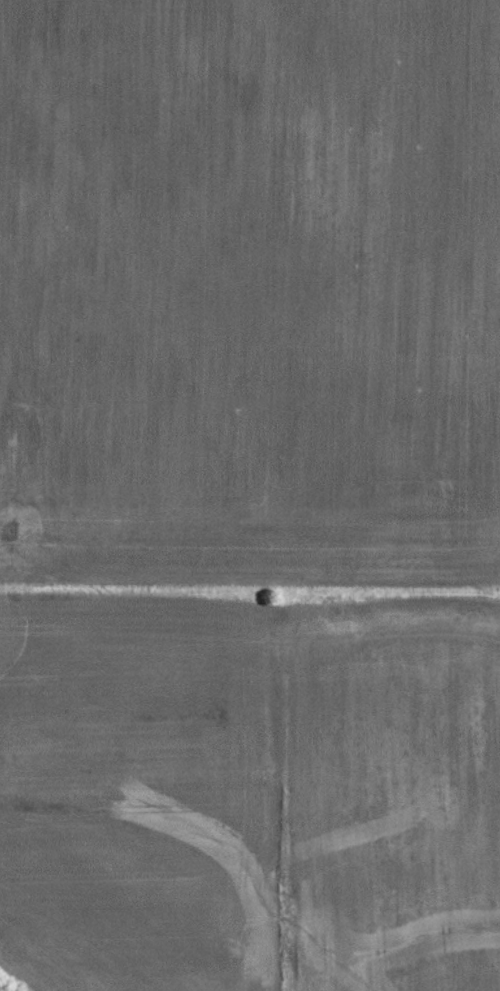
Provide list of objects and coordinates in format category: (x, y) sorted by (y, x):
crop: (249, 795)

